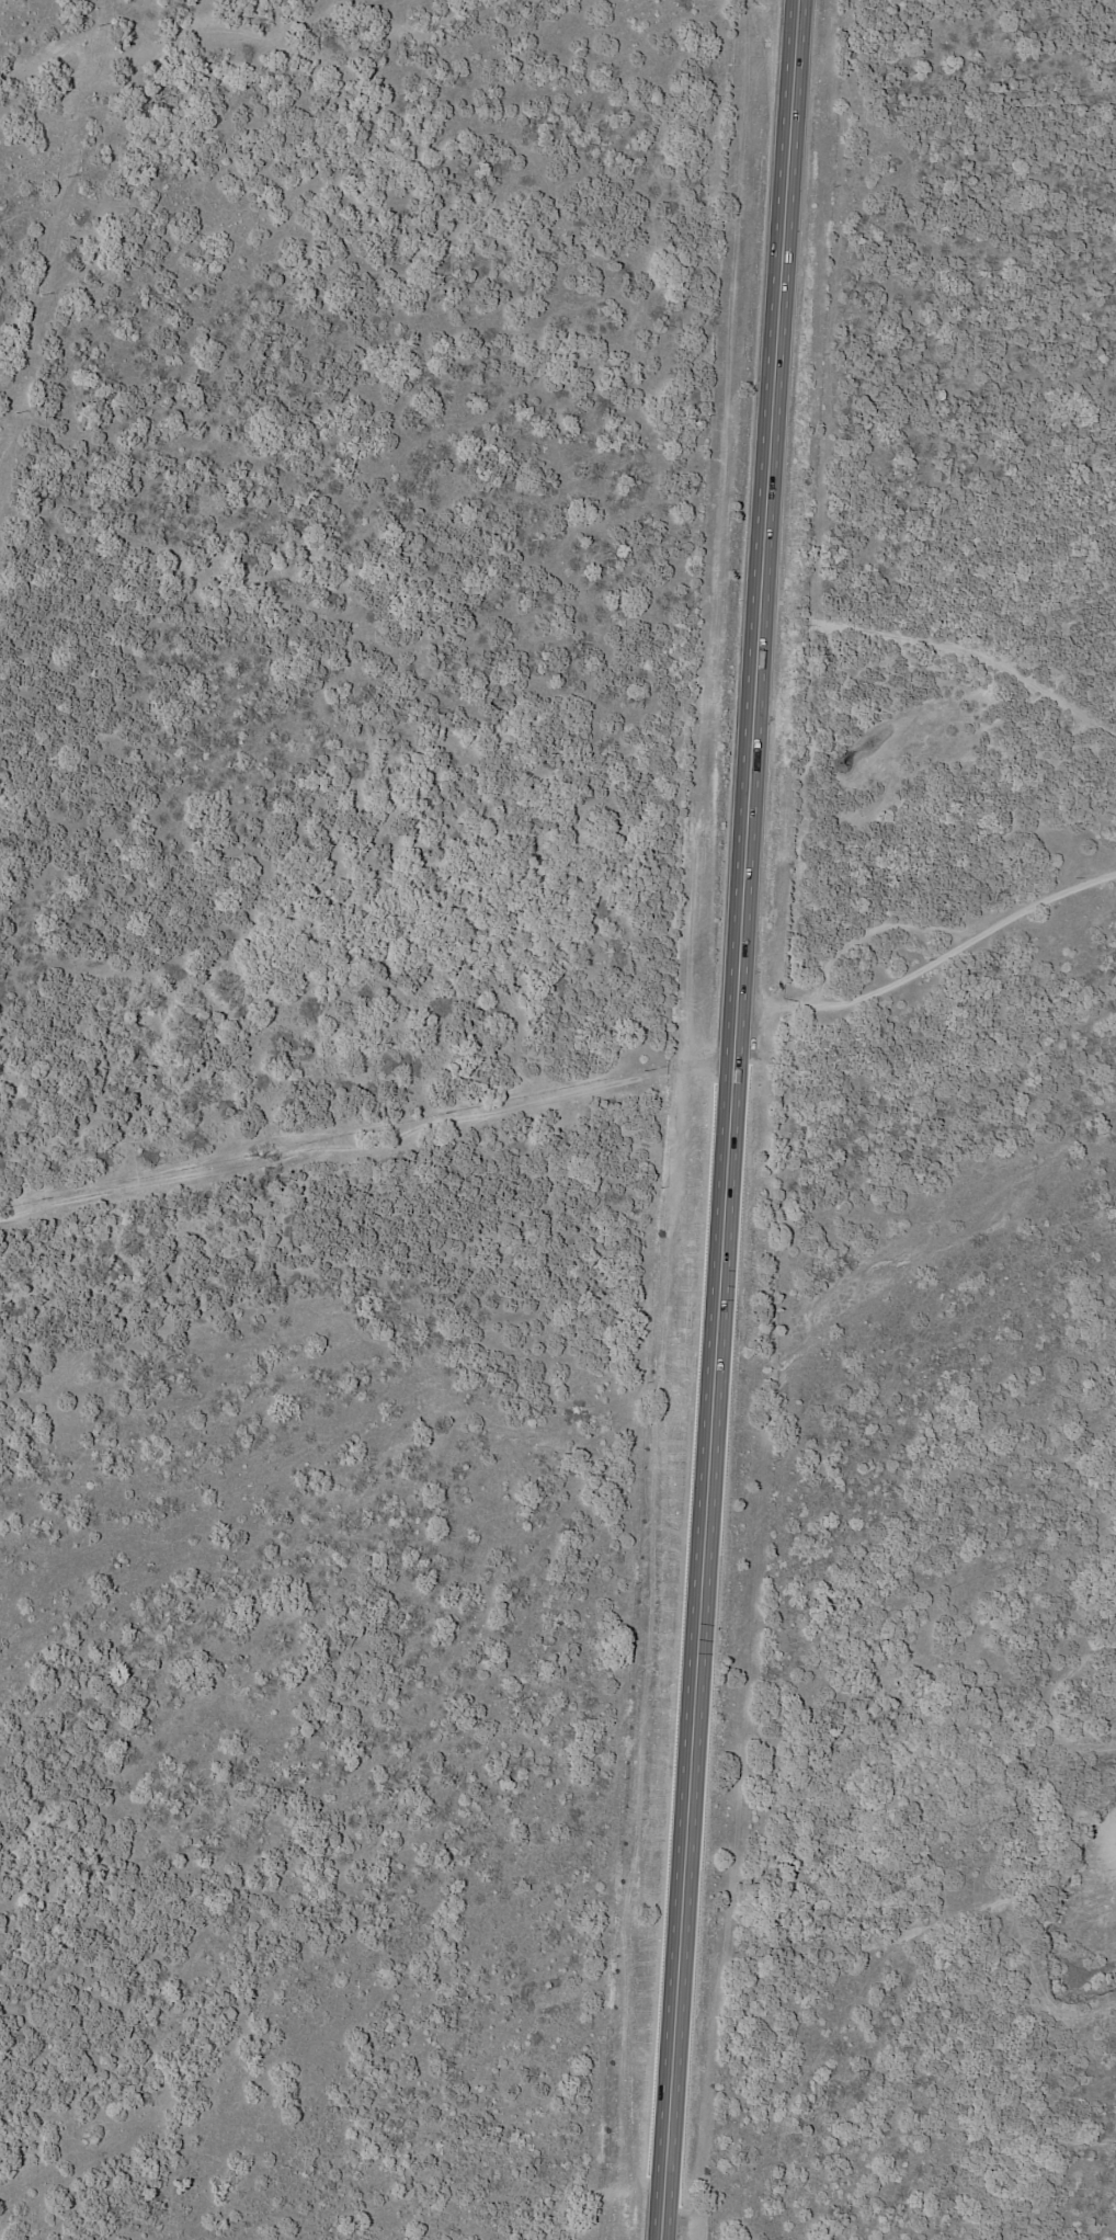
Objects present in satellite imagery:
road: (944, 645)
road: (924, 982)
road: (722, 1119)

